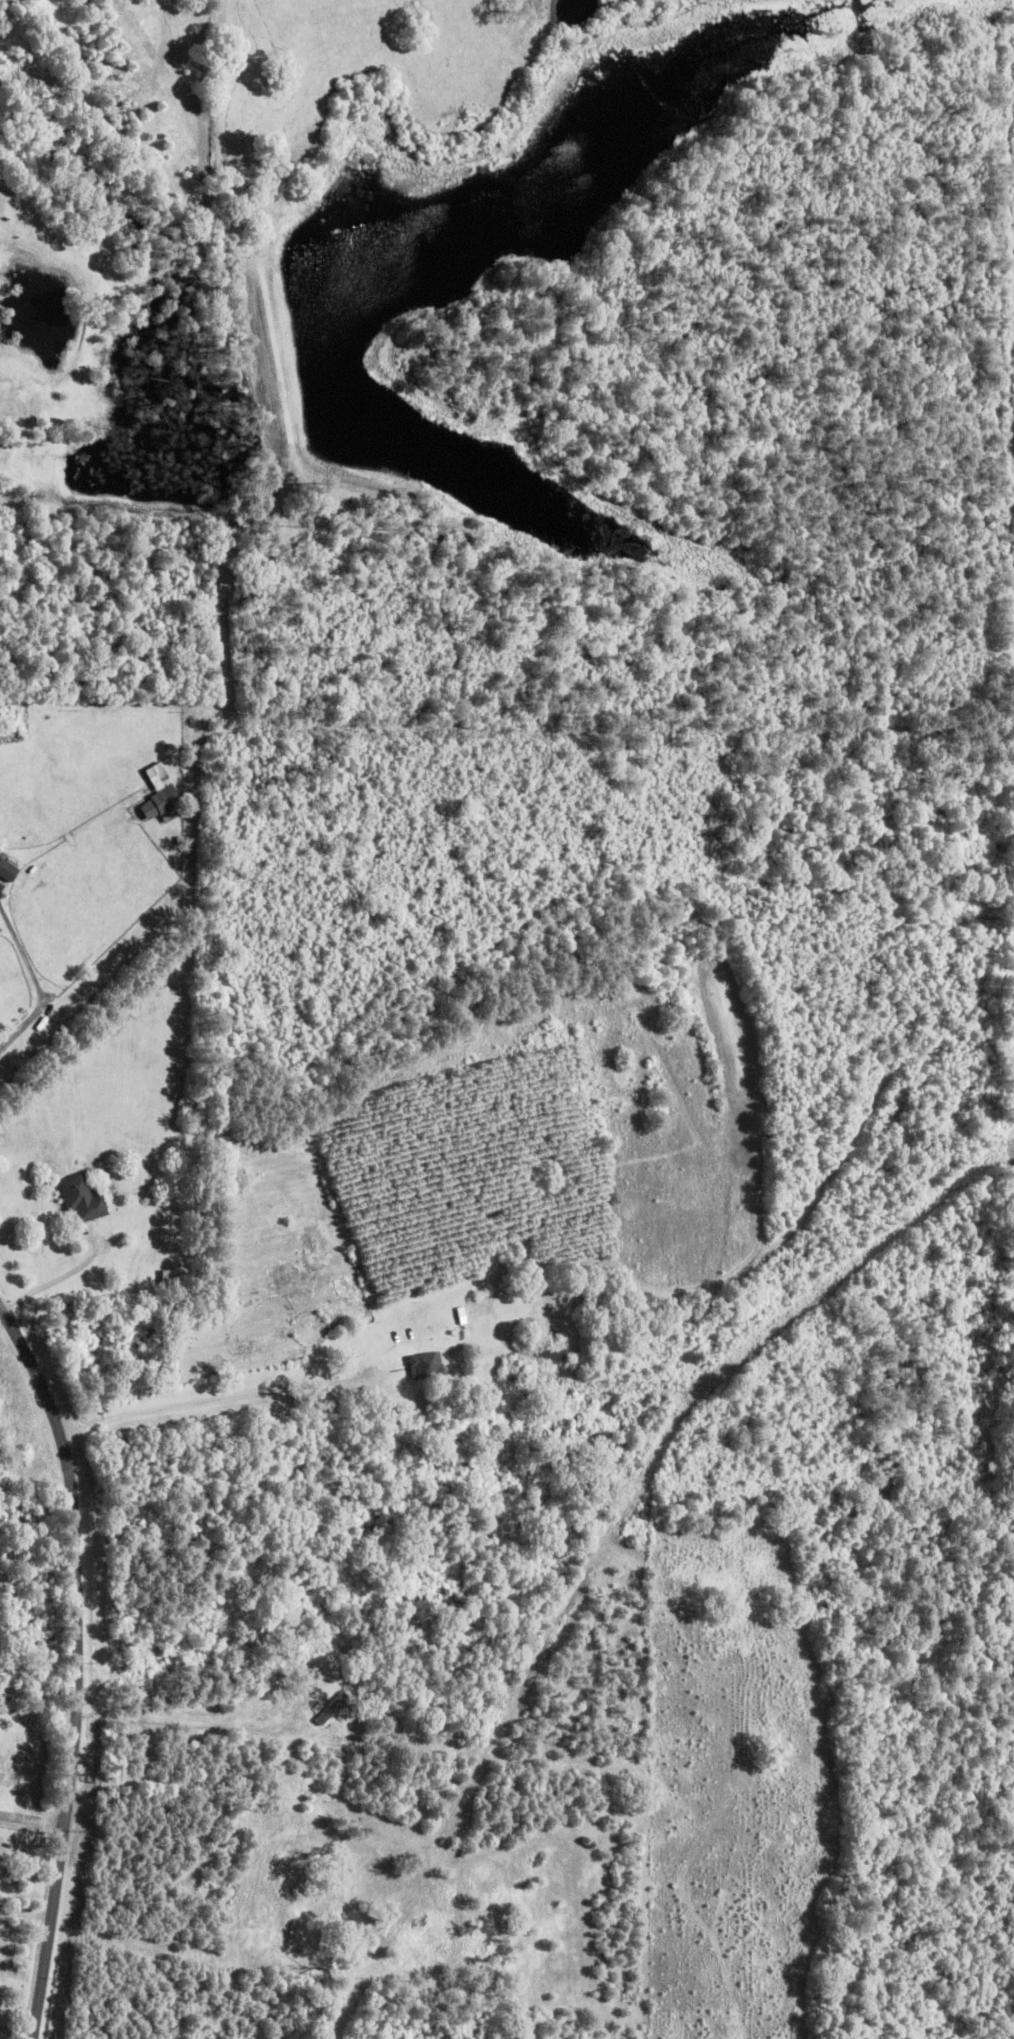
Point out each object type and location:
building: (161, 796)
building: (83, 1199)
building: (512, 1262)
building: (175, 1280)
building: (554, 1355)
building: (427, 1366)
road: (211, 1404)
road: (76, 1666)
road: (966, 1673)

